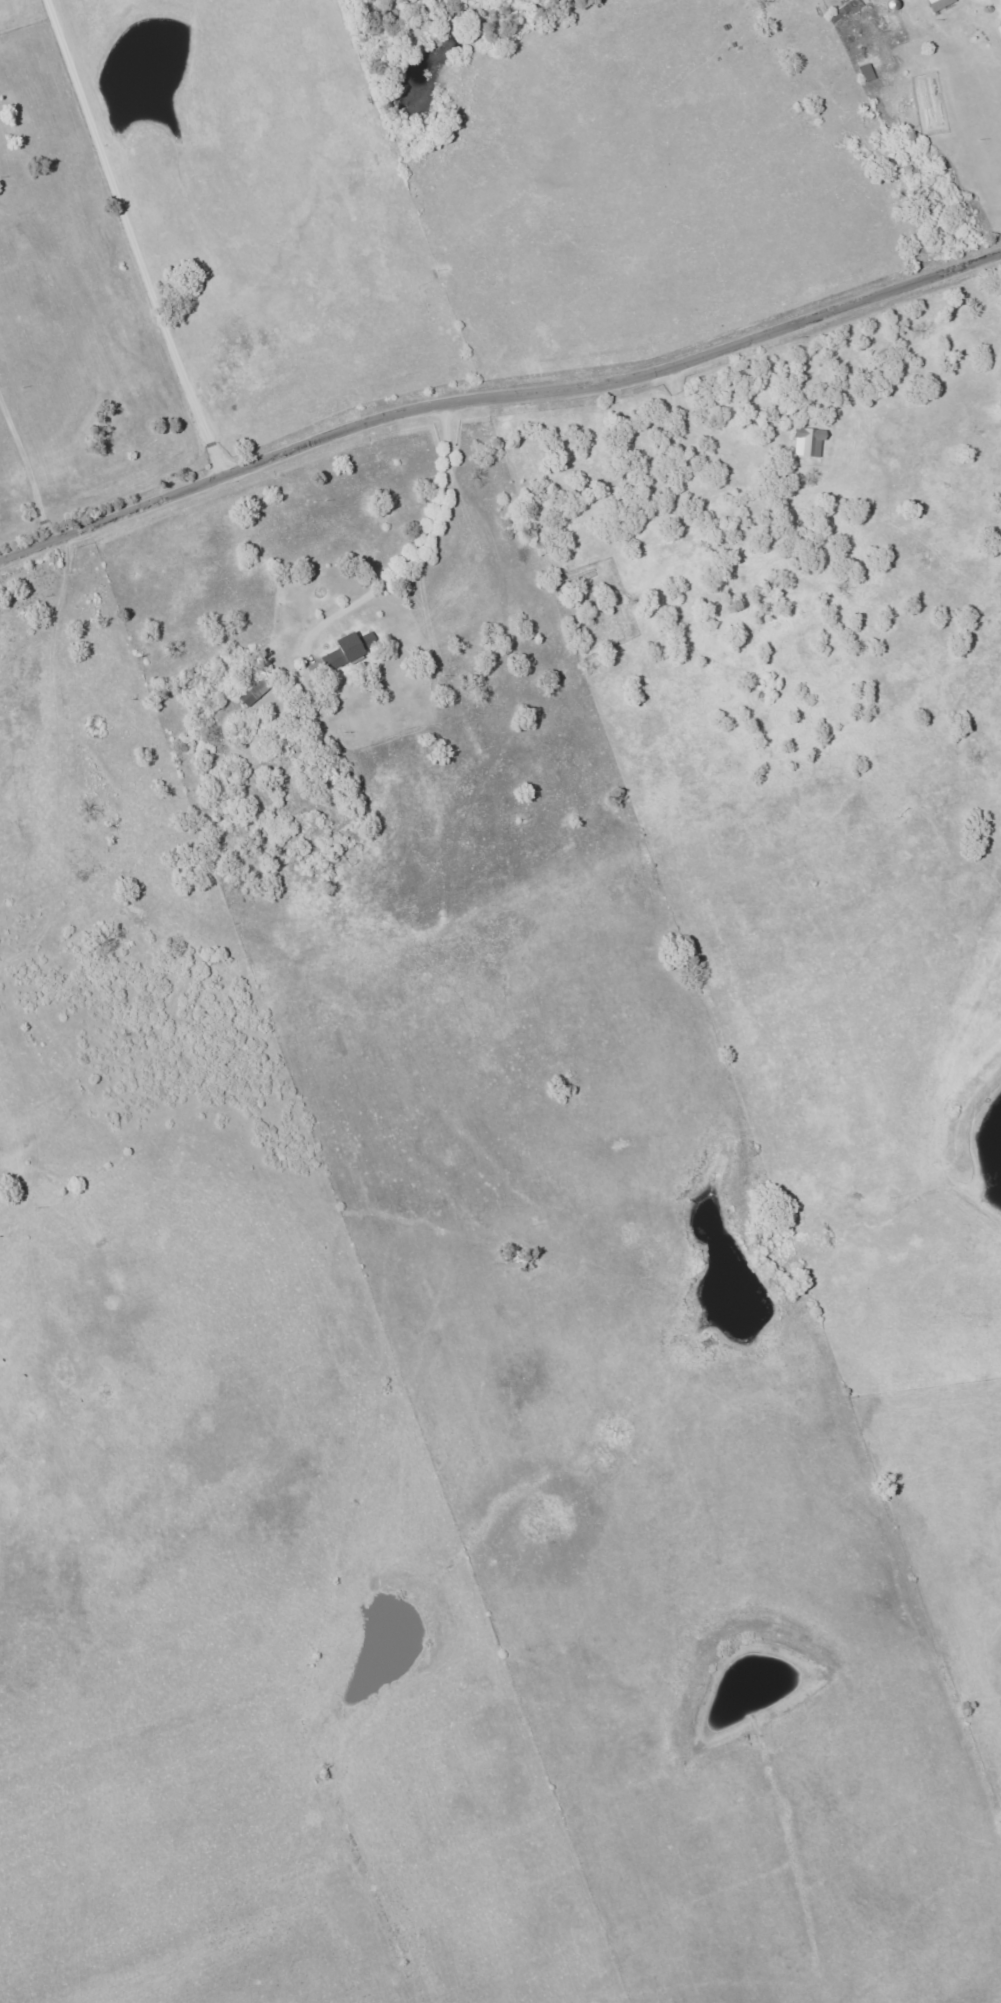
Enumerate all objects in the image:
building: (938, 4)
road: (131, 239)
road: (497, 399)
building: (807, 442)
road: (32, 471)
road: (414, 552)
building: (342, 652)
building: (252, 694)

